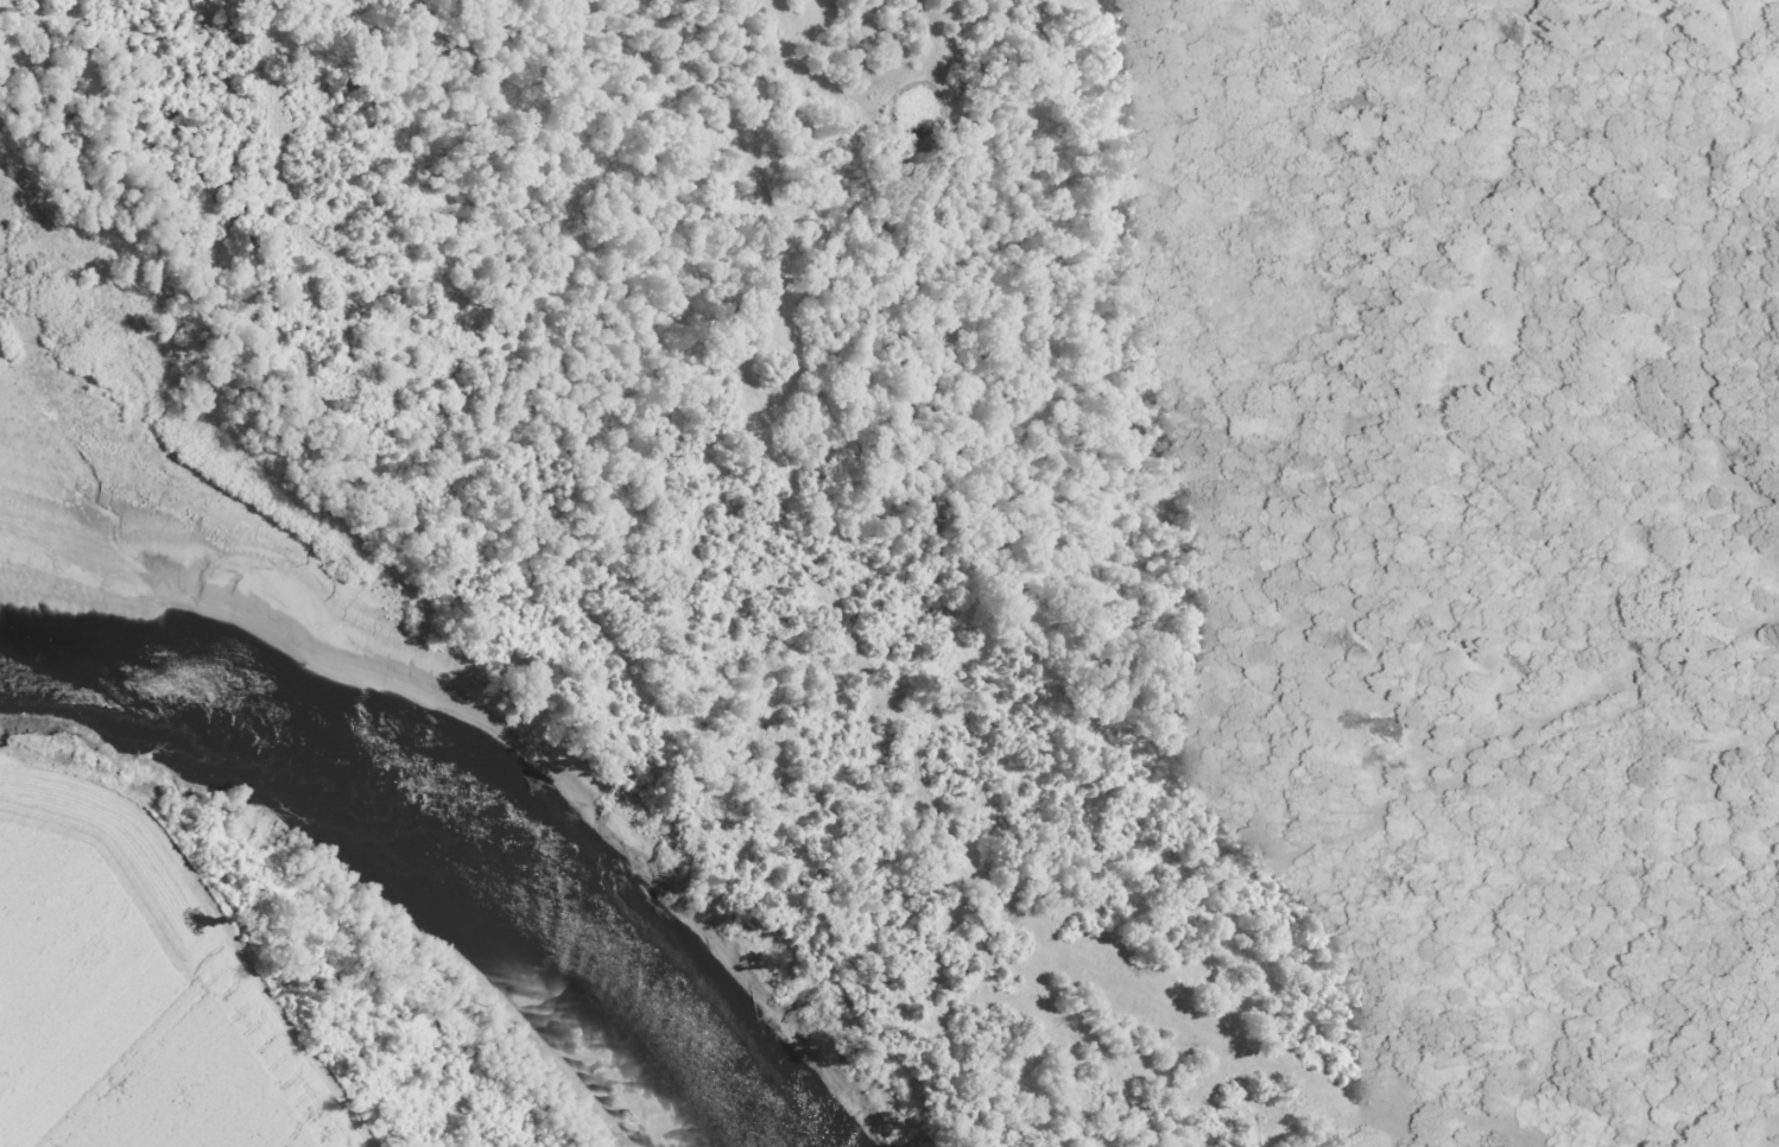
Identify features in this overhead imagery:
river: (110, 487)
river: (502, 860)

